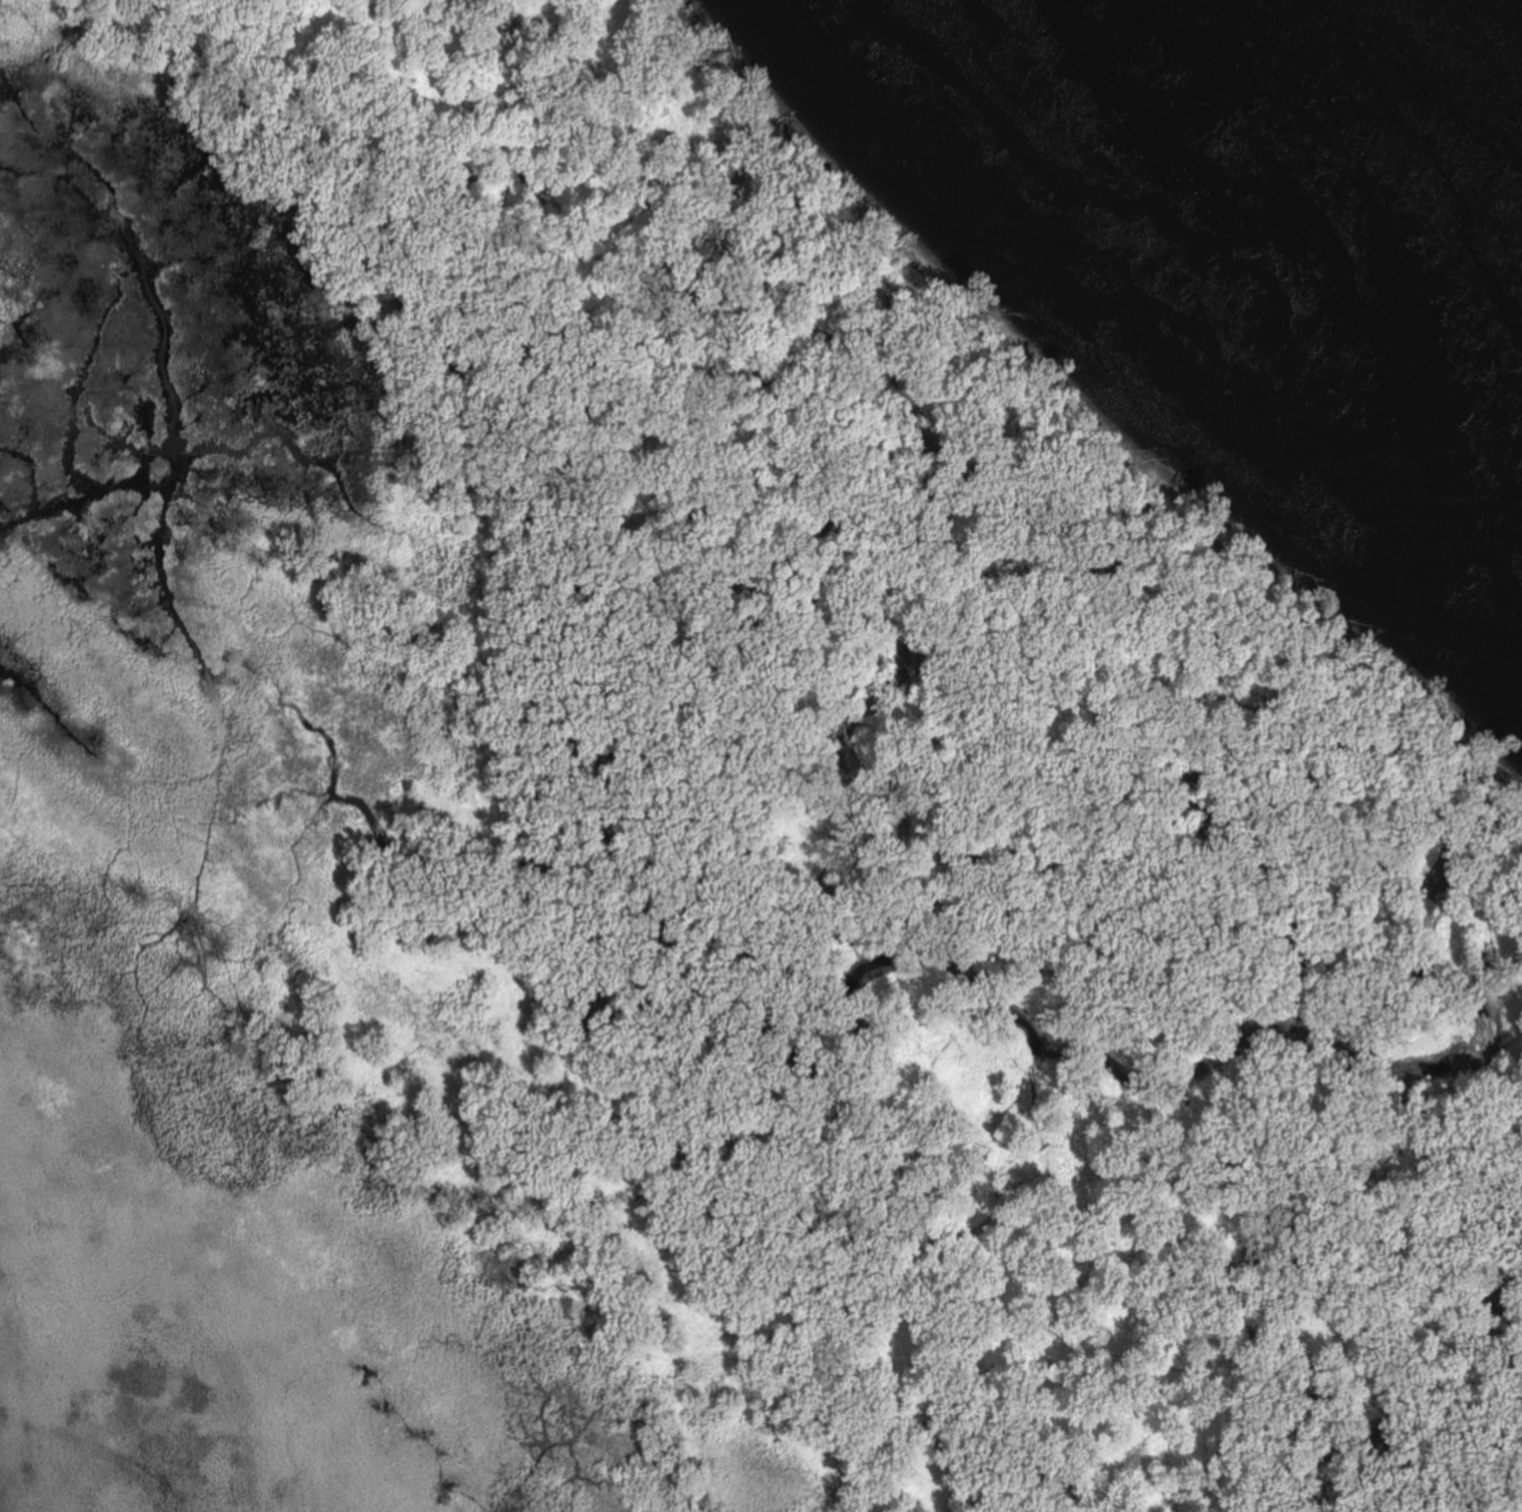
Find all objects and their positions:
river: (1366, 149)

